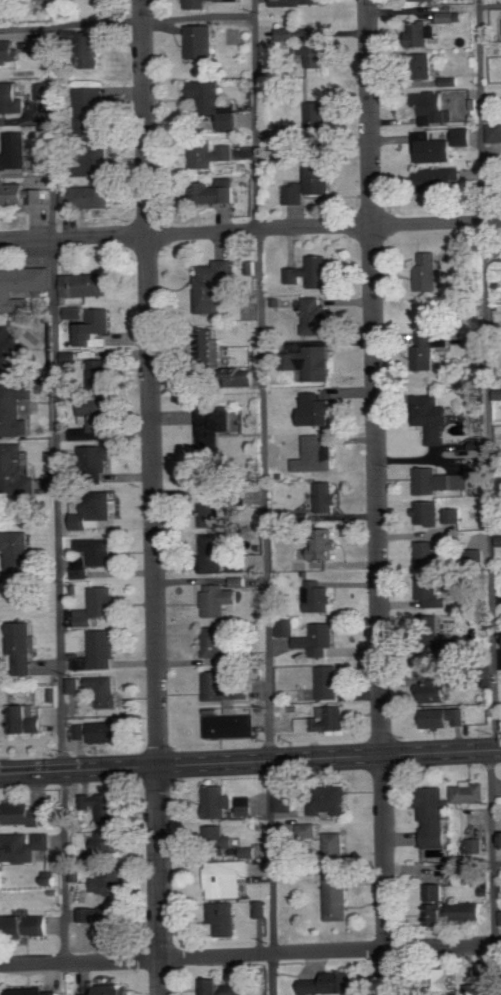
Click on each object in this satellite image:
building: (232, 0)
building: (424, 0)
building: (297, 3)
building: (199, 4)
road: (489, 4)
building: (447, 17)
road: (127, 21)
building: (424, 35)
building: (202, 43)
building: (307, 46)
building: (39, 49)
building: (93, 51)
building: (10, 52)
building: (423, 66)
building: (452, 81)
building: (42, 92)
building: (11, 99)
building: (215, 104)
building: (435, 109)
building: (92, 112)
building: (319, 120)
building: (495, 133)
building: (463, 137)
building: (432, 149)
building: (15, 152)
building: (211, 155)
building: (98, 160)
building: (320, 176)
building: (443, 179)
building: (216, 191)
building: (295, 193)
building: (20, 194)
building: (87, 196)
road: (250, 232)
building: (252, 268)
building: (312, 272)
building: (429, 272)
building: (87, 284)
building: (212, 284)
building: (22, 287)
building: (75, 312)
building: (317, 317)
building: (95, 327)
building: (212, 345)
building: (430, 348)
building: (10, 351)
building: (313, 362)
building: (99, 374)
road: (486, 375)
building: (246, 378)
building: (14, 409)
building: (315, 409)
building: (97, 413)
building: (433, 418)
building: (218, 425)
building: (317, 455)
building: (97, 457)
building: (16, 470)
building: (437, 481)
road: (57, 494)
road: (152, 497)
road: (264, 497)
building: (326, 497)
road: (378, 497)
building: (95, 510)
building: (215, 511)
building: (428, 512)
building: (453, 515)
building: (500, 541)
building: (325, 544)
building: (97, 551)
building: (213, 553)
building: (432, 556)
building: (17, 557)
building: (238, 563)
building: (81, 569)
building: (238, 582)
building: (431, 592)
building: (318, 596)
building: (219, 599)
building: (98, 606)
building: (430, 624)
building: (286, 628)
building: (318, 639)
building: (214, 642)
building: (22, 647)
building: (103, 649)
building: (233, 660)
building: (467, 681)
building: (329, 682)
building: (74, 685)
building: (228, 686)
building: (437, 688)
building: (105, 690)
building: (444, 718)
building: (26, 720)
building: (325, 720)
building: (232, 726)
building: (82, 732)
building: (106, 732)
road: (250, 761)
building: (471, 793)
building: (216, 801)
building: (330, 802)
building: (286, 803)
building: (105, 806)
building: (245, 806)
building: (22, 815)
building: (435, 817)
building: (308, 831)
building: (109, 844)
building: (335, 846)
building: (474, 846)
building: (23, 847)
building: (249, 852)
road: (442, 865)
road: (492, 873)
building: (77, 875)
building: (228, 879)
building: (51, 880)
building: (110, 881)
building: (337, 899)
building: (436, 904)
building: (261, 909)
building: (467, 912)
building: (500, 916)
building: (224, 919)
building: (106, 920)
building: (29, 925)
road: (250, 956)
building: (445, 981)
building: (326, 984)
building: (215, 987)
building: (114, 989)
building: (237, 989)
building: (33, 991)
building: (93, 994)

